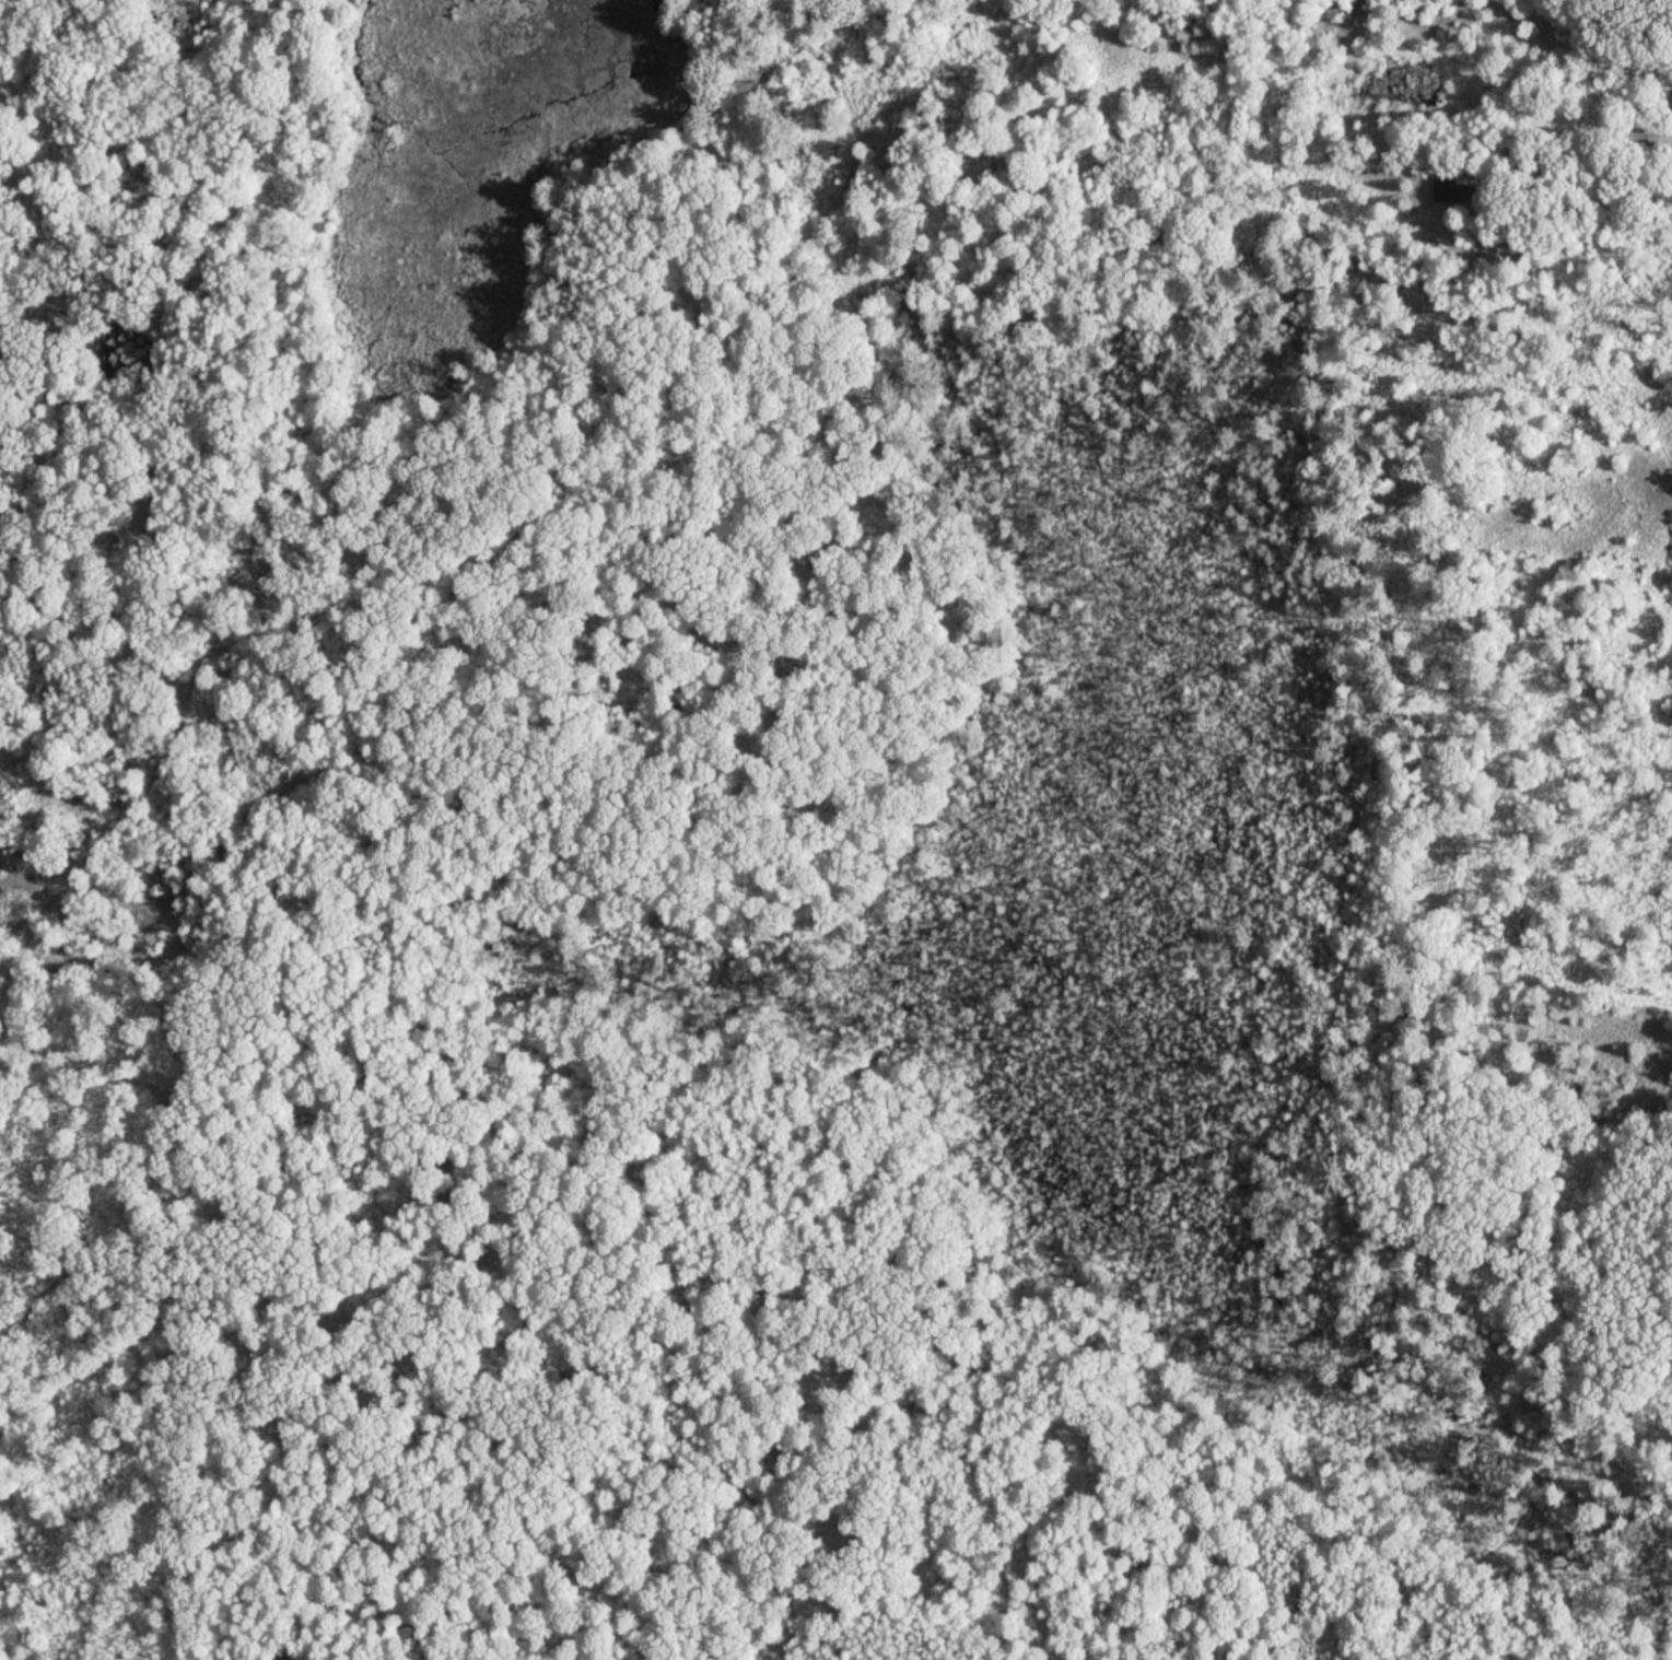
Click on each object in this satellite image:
building: (1463, 192)

